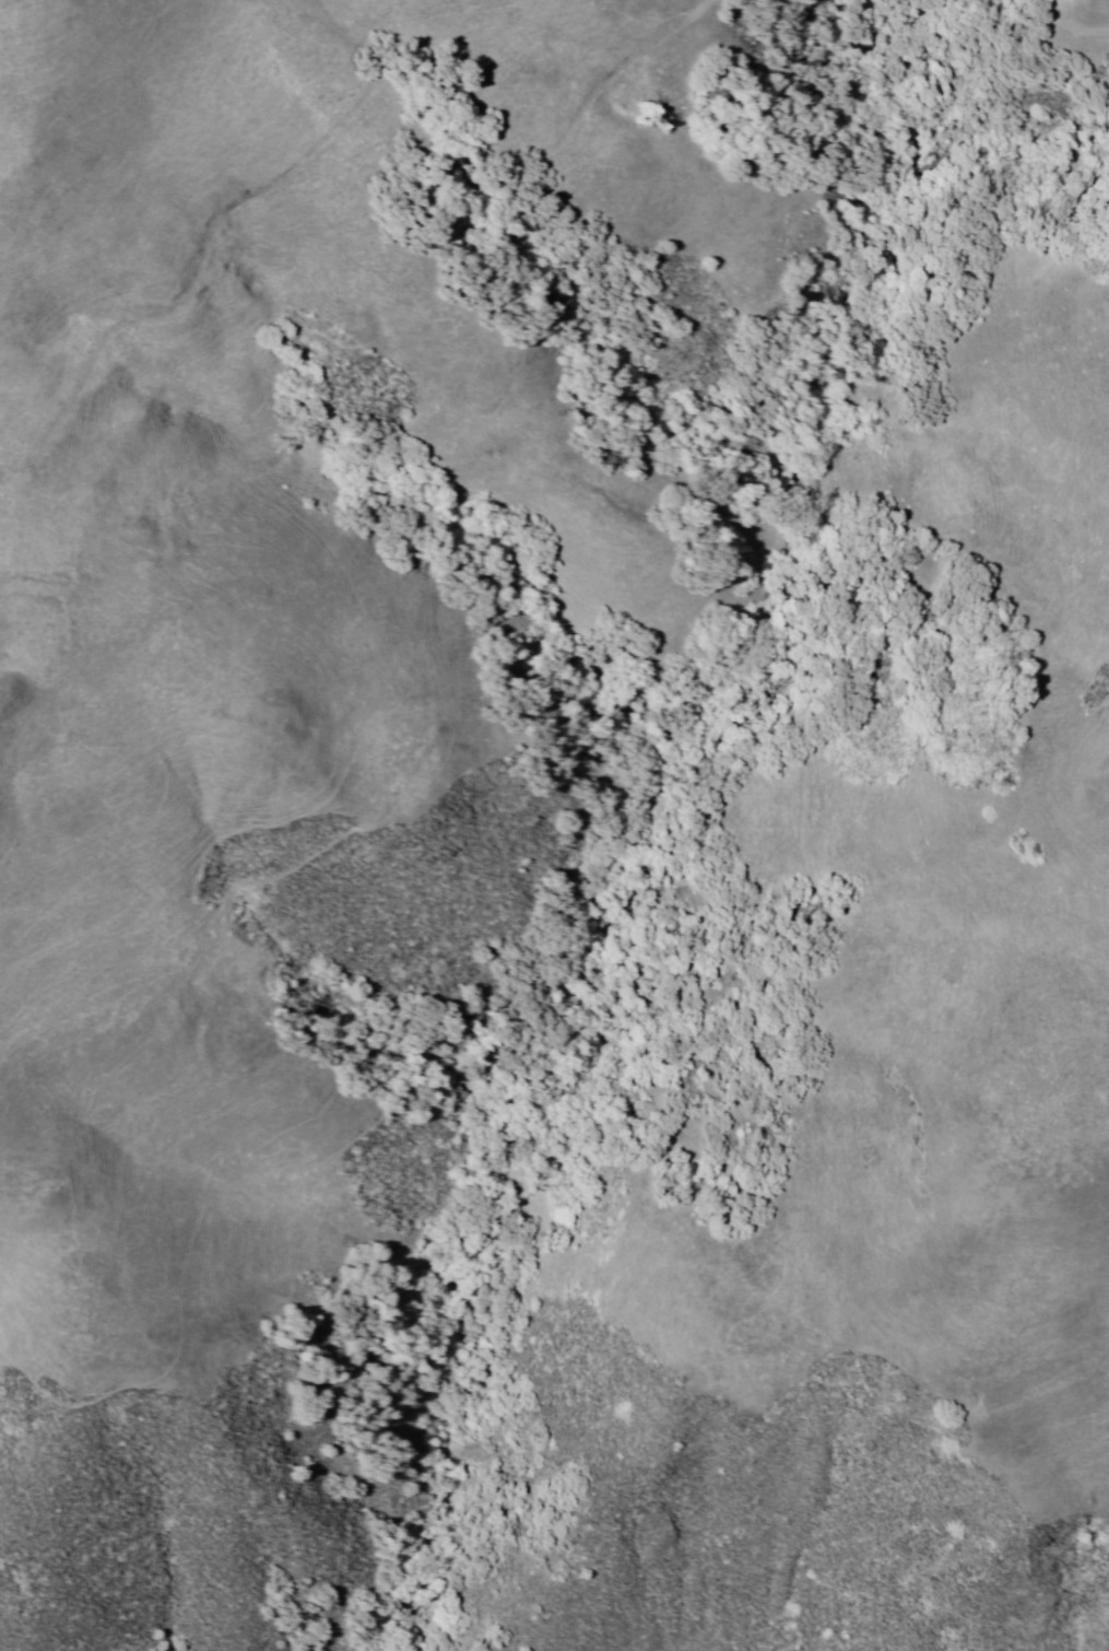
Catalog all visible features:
road: (1074, 28)
road: (346, 124)

